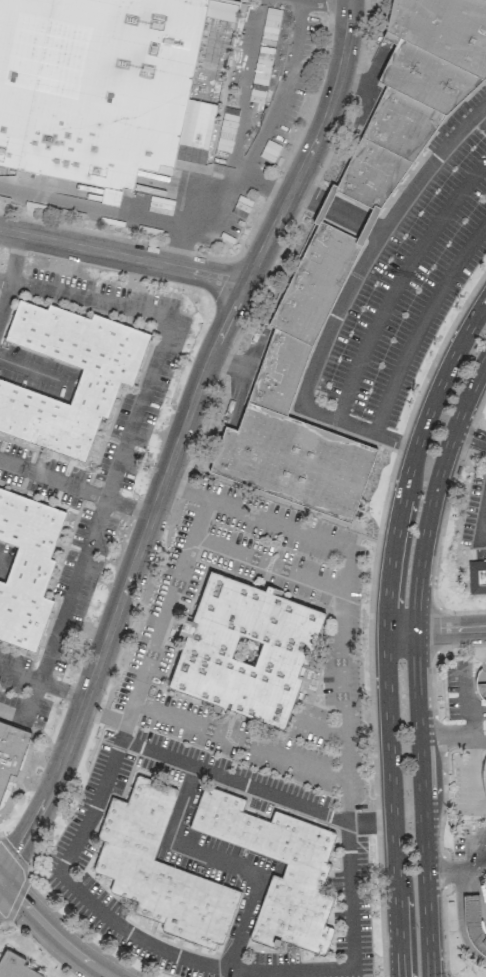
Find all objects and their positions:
road: (251, 76)
building: (108, 86)
parking lot: (256, 109)
road: (480, 118)
road: (257, 144)
road: (266, 184)
road: (94, 207)
road: (378, 234)
road: (124, 256)
building: (351, 257)
road: (10, 273)
road: (397, 282)
road: (420, 322)
road: (32, 371)
building: (109, 380)
road: (350, 424)
road: (470, 436)
road: (183, 440)
road: (121, 448)
road: (77, 488)
road: (448, 500)
parking lot: (475, 520)
road: (481, 524)
road: (249, 557)
building: (26, 574)
building: (477, 576)
road: (369, 613)
road: (435, 631)
road: (385, 632)
building: (246, 651)
road: (416, 664)
road: (45, 678)
building: (481, 682)
road: (468, 695)
road: (157, 711)
road: (469, 716)
road: (117, 721)
road: (342, 725)
road: (322, 727)
road: (452, 736)
building: (11, 751)
road: (224, 779)
road: (369, 822)
road: (224, 864)
building: (160, 867)
building: (306, 870)
road: (460, 874)
road: (2, 877)
traffic signals: (5, 880)
road: (2, 884)
road: (81, 894)
building: (473, 925)
road: (56, 932)
building: (14, 966)
road: (109, 975)

